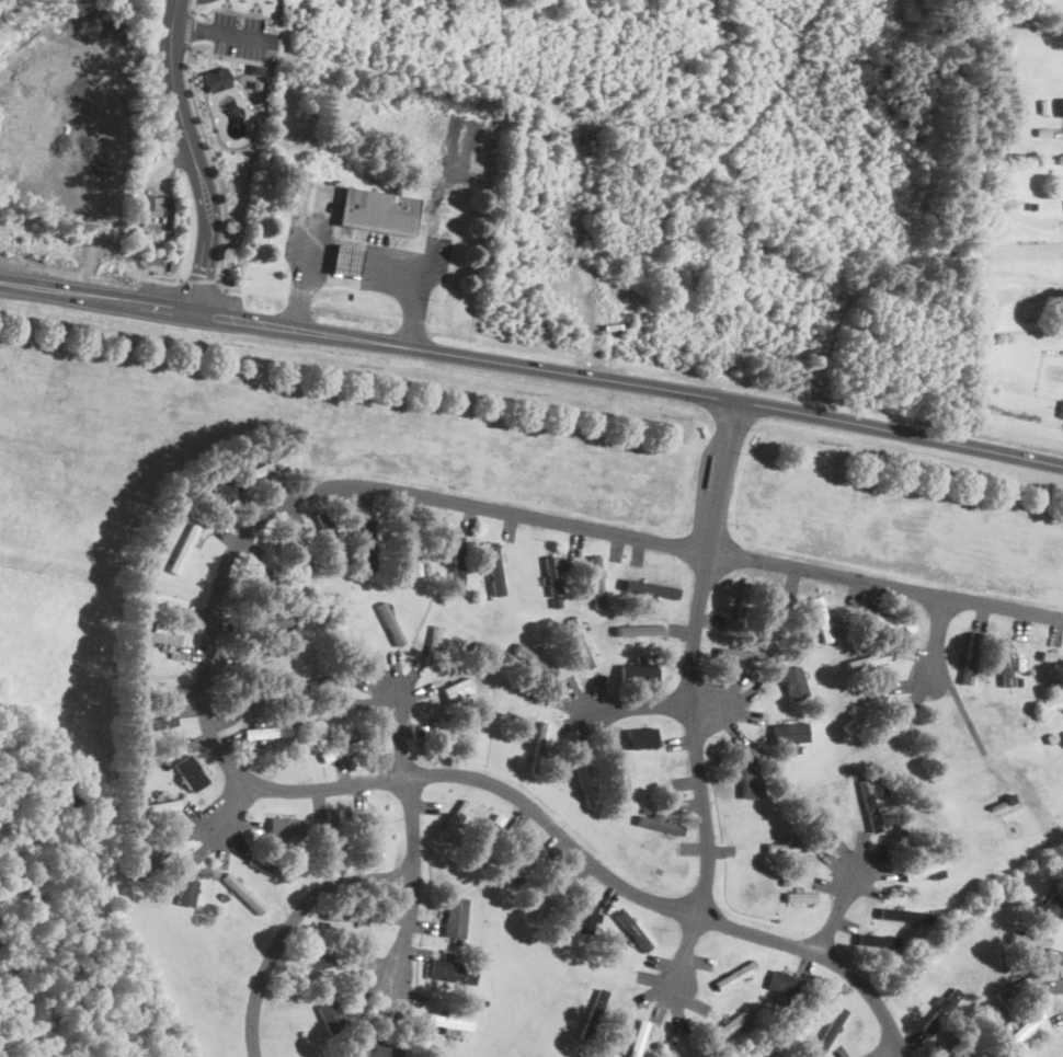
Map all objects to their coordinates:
road: (192, 7)
road: (186, 30)
road: (221, 33)
road: (155, 77)
building: (215, 78)
building: (1062, 106)
road: (194, 154)
road: (174, 161)
road: (217, 173)
building: (152, 208)
building: (377, 210)
road: (366, 241)
road: (190, 244)
building: (344, 260)
road: (201, 280)
road: (531, 366)
building: (1061, 410)
building: (272, 464)
building: (222, 491)
building: (296, 541)
building: (367, 543)
building: (330, 544)
building: (183, 548)
building: (411, 549)
building: (456, 562)
building: (493, 565)
building: (551, 574)
building: (595, 582)
building: (161, 599)
building: (741, 609)
building: (820, 619)
building: (268, 621)
building: (390, 622)
building: (890, 622)
road: (214, 623)
building: (639, 630)
building: (158, 636)
road: (929, 640)
building: (581, 642)
building: (434, 644)
building: (743, 655)
building: (1051, 656)
building: (970, 657)
building: (871, 658)
building: (536, 662)
building: (1004, 663)
building: (638, 673)
building: (793, 682)
building: (457, 689)
road: (693, 701)
building: (1051, 701)
building: (255, 704)
road: (638, 706)
building: (864, 711)
road: (969, 724)
building: (266, 732)
building: (790, 732)
building: (641, 737)
building: (1062, 737)
building: (1062, 739)
building: (539, 747)
building: (339, 750)
building: (190, 773)
building: (752, 775)
building: (584, 781)
road: (229, 804)
building: (869, 804)
building: (153, 807)
building: (452, 822)
building: (659, 825)
building: (285, 826)
building: (333, 835)
road: (412, 835)
building: (369, 837)
building: (788, 848)
building: (151, 861)
building: (517, 863)
building: (268, 868)
building: (922, 869)
building: (187, 892)
building: (241, 893)
building: (550, 896)
building: (800, 897)
building: (1051, 904)
road: (838, 908)
building: (906, 915)
building: (587, 916)
building: (454, 917)
road: (288, 921)
building: (632, 930)
building: (879, 939)
building: (1028, 939)
building: (320, 963)
building: (446, 969)
building: (734, 974)
building: (784, 983)
building: (1015, 987)
building: (941, 1009)
building: (594, 1013)
building: (331, 1016)
building: (448, 1021)
building: (732, 1022)
building: (1019, 1026)
building: (828, 1031)
building: (637, 1038)
building: (683, 1045)
building: (381, 1048)
road: (884, 1050)

